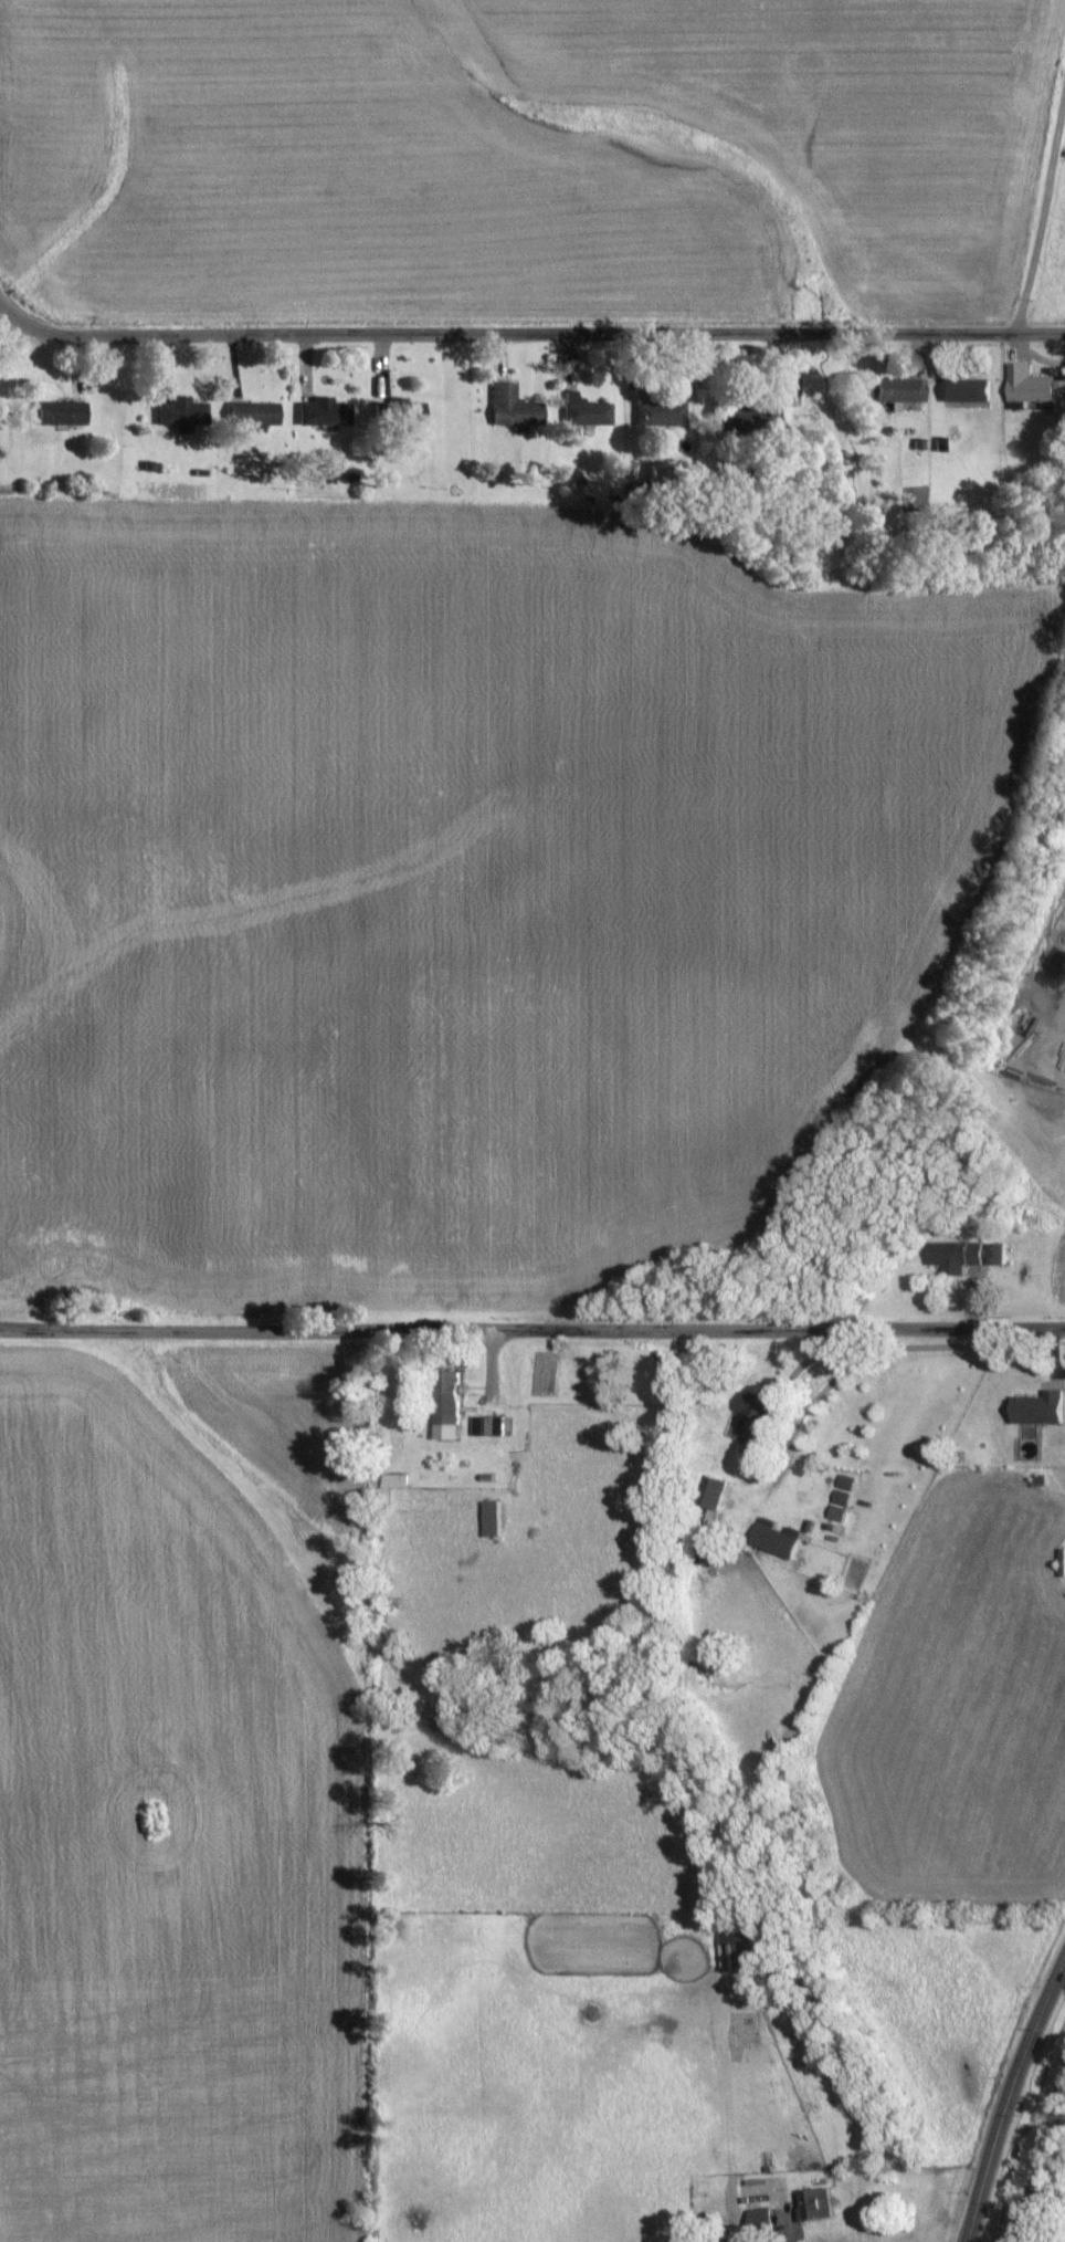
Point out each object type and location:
road: (1038, 200)
road: (23, 285)
road: (548, 338)
building: (1034, 388)
building: (963, 389)
building: (898, 391)
building: (512, 408)
building: (584, 411)
building: (321, 412)
building: (59, 413)
building: (180, 413)
building: (660, 413)
building: (251, 415)
building: (993, 1255)
building: (951, 1256)
road: (532, 1323)
building: (445, 1406)
building: (752, 1407)
building: (1036, 1410)
building: (751, 1442)
building: (392, 1481)
building: (709, 1494)
building: (834, 1515)
building: (1061, 1563)
road: (1005, 2092)
railway: (1038, 2161)
building: (814, 2204)
building: (758, 2217)

